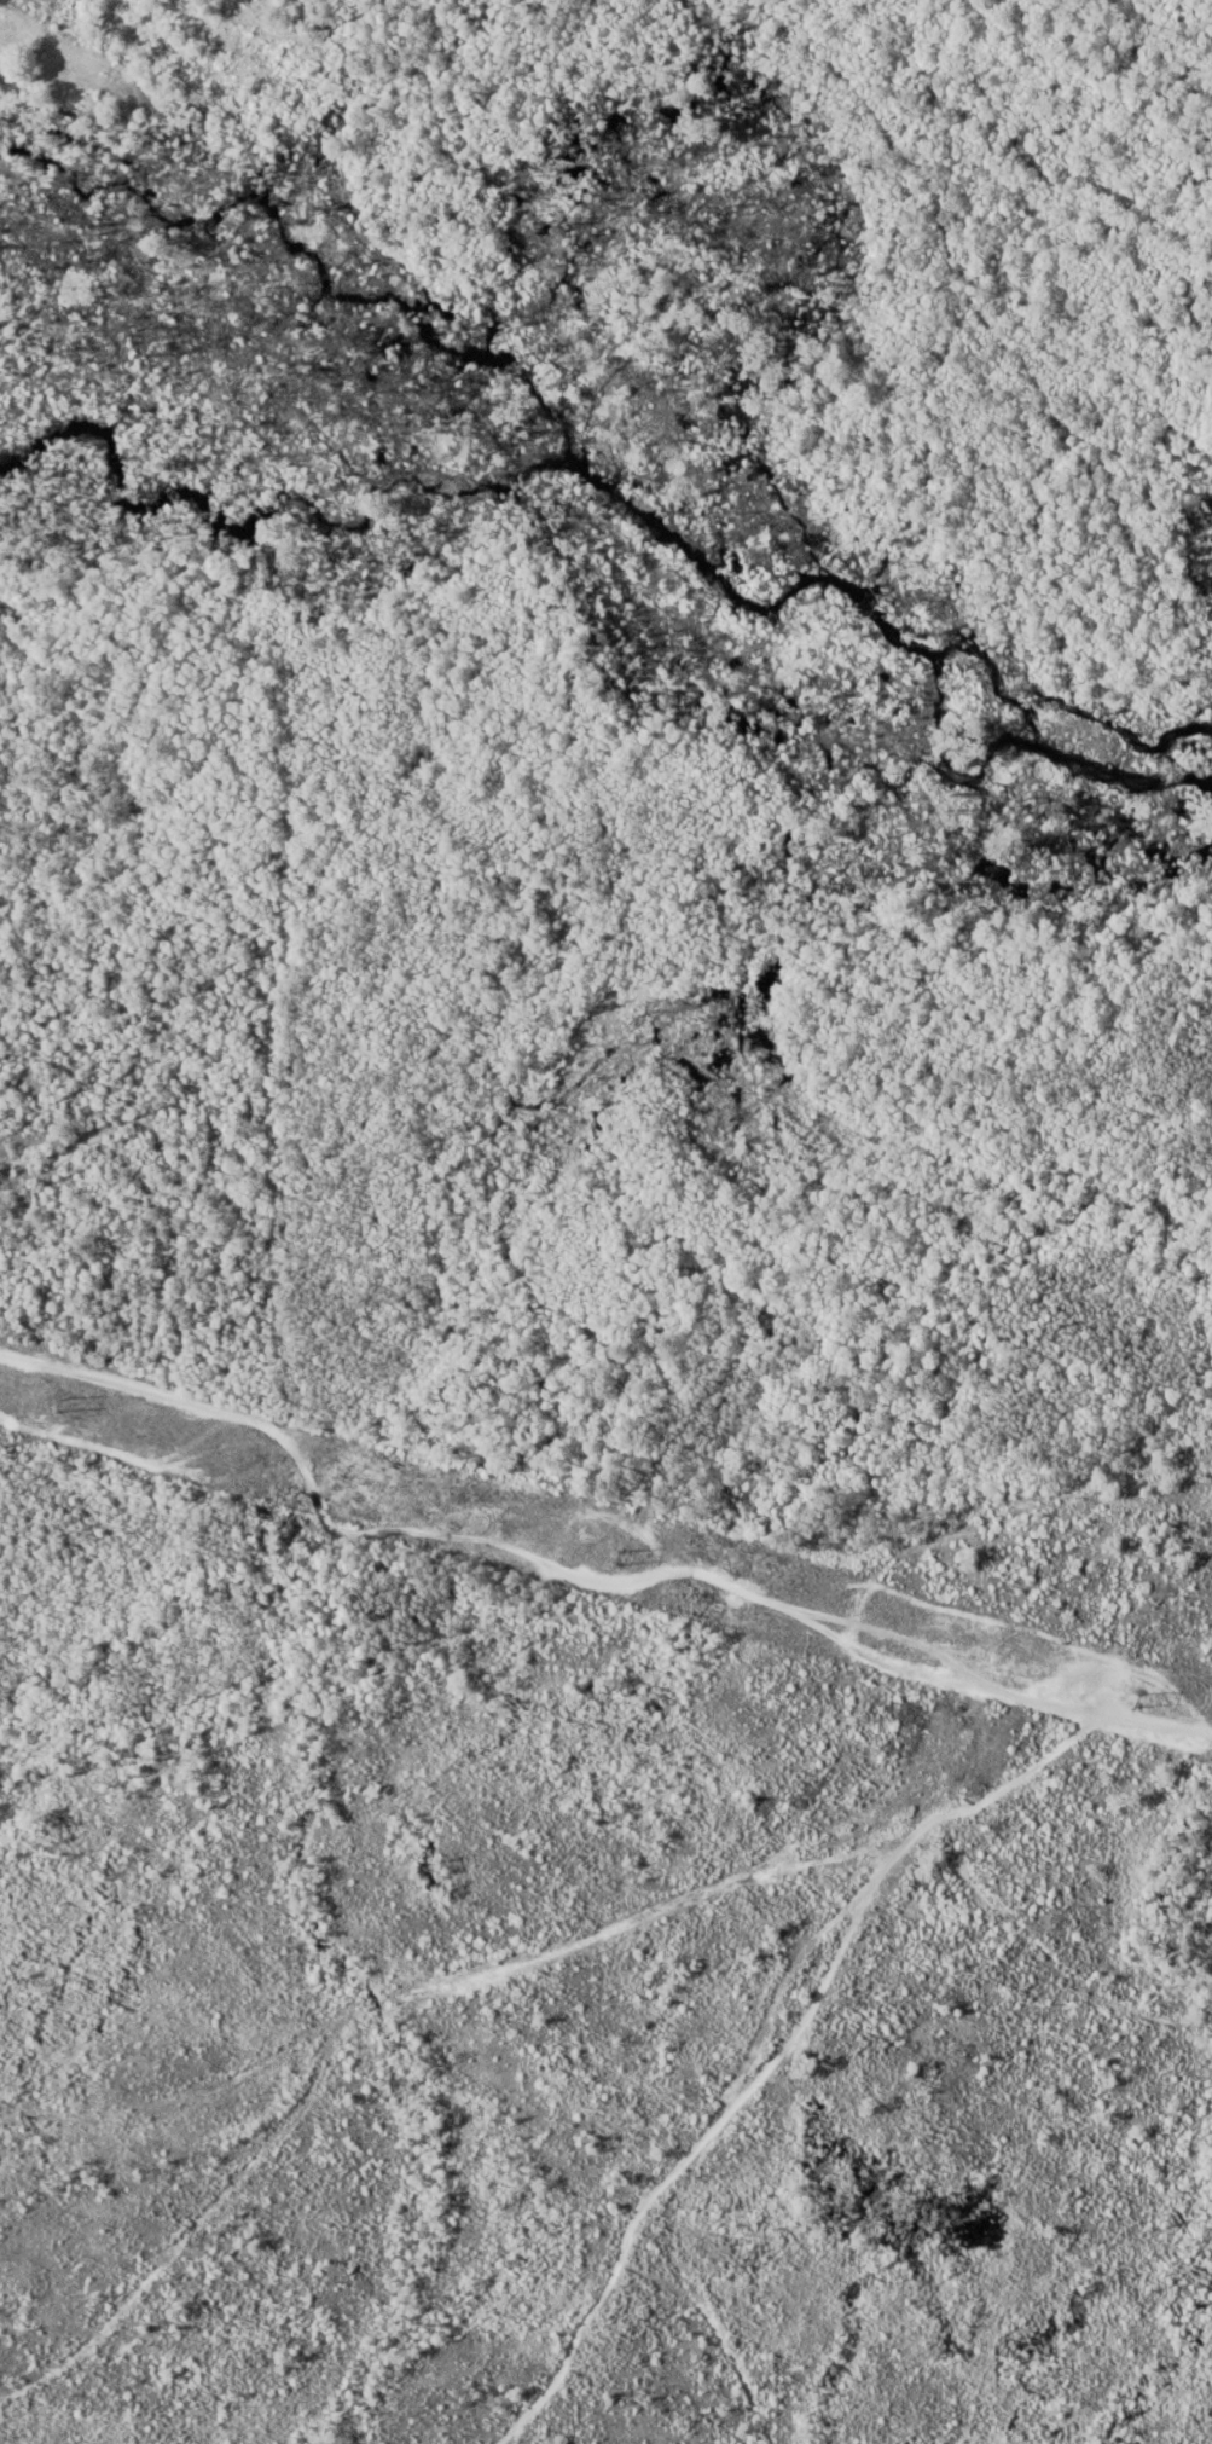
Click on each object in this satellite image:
building: (771, 1322)
power tower: (62, 1402)
power tower: (621, 1558)
power tower: (1139, 1699)

